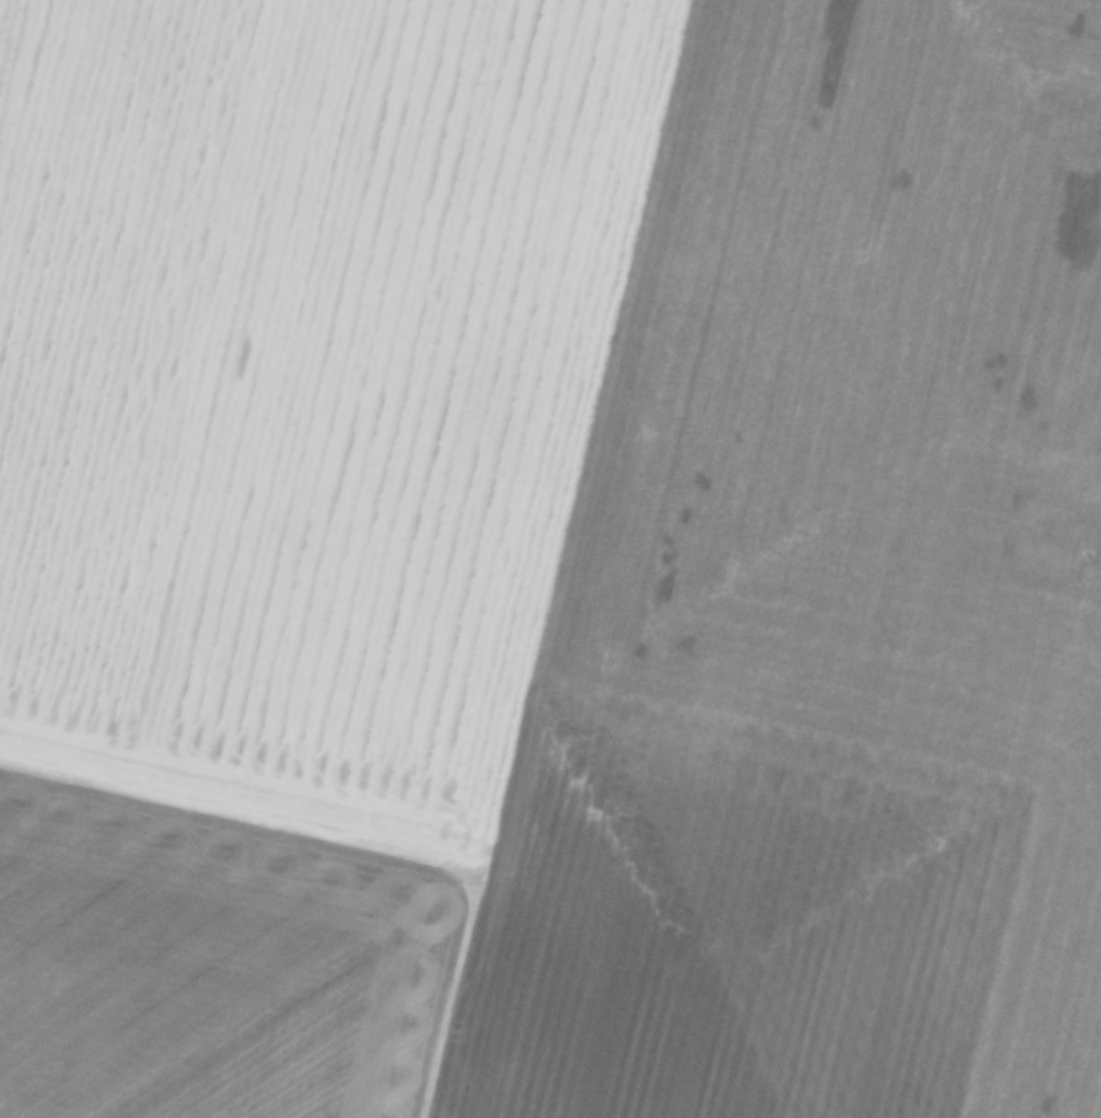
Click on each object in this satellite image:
crop: (575, 445)
road: (356, 846)

